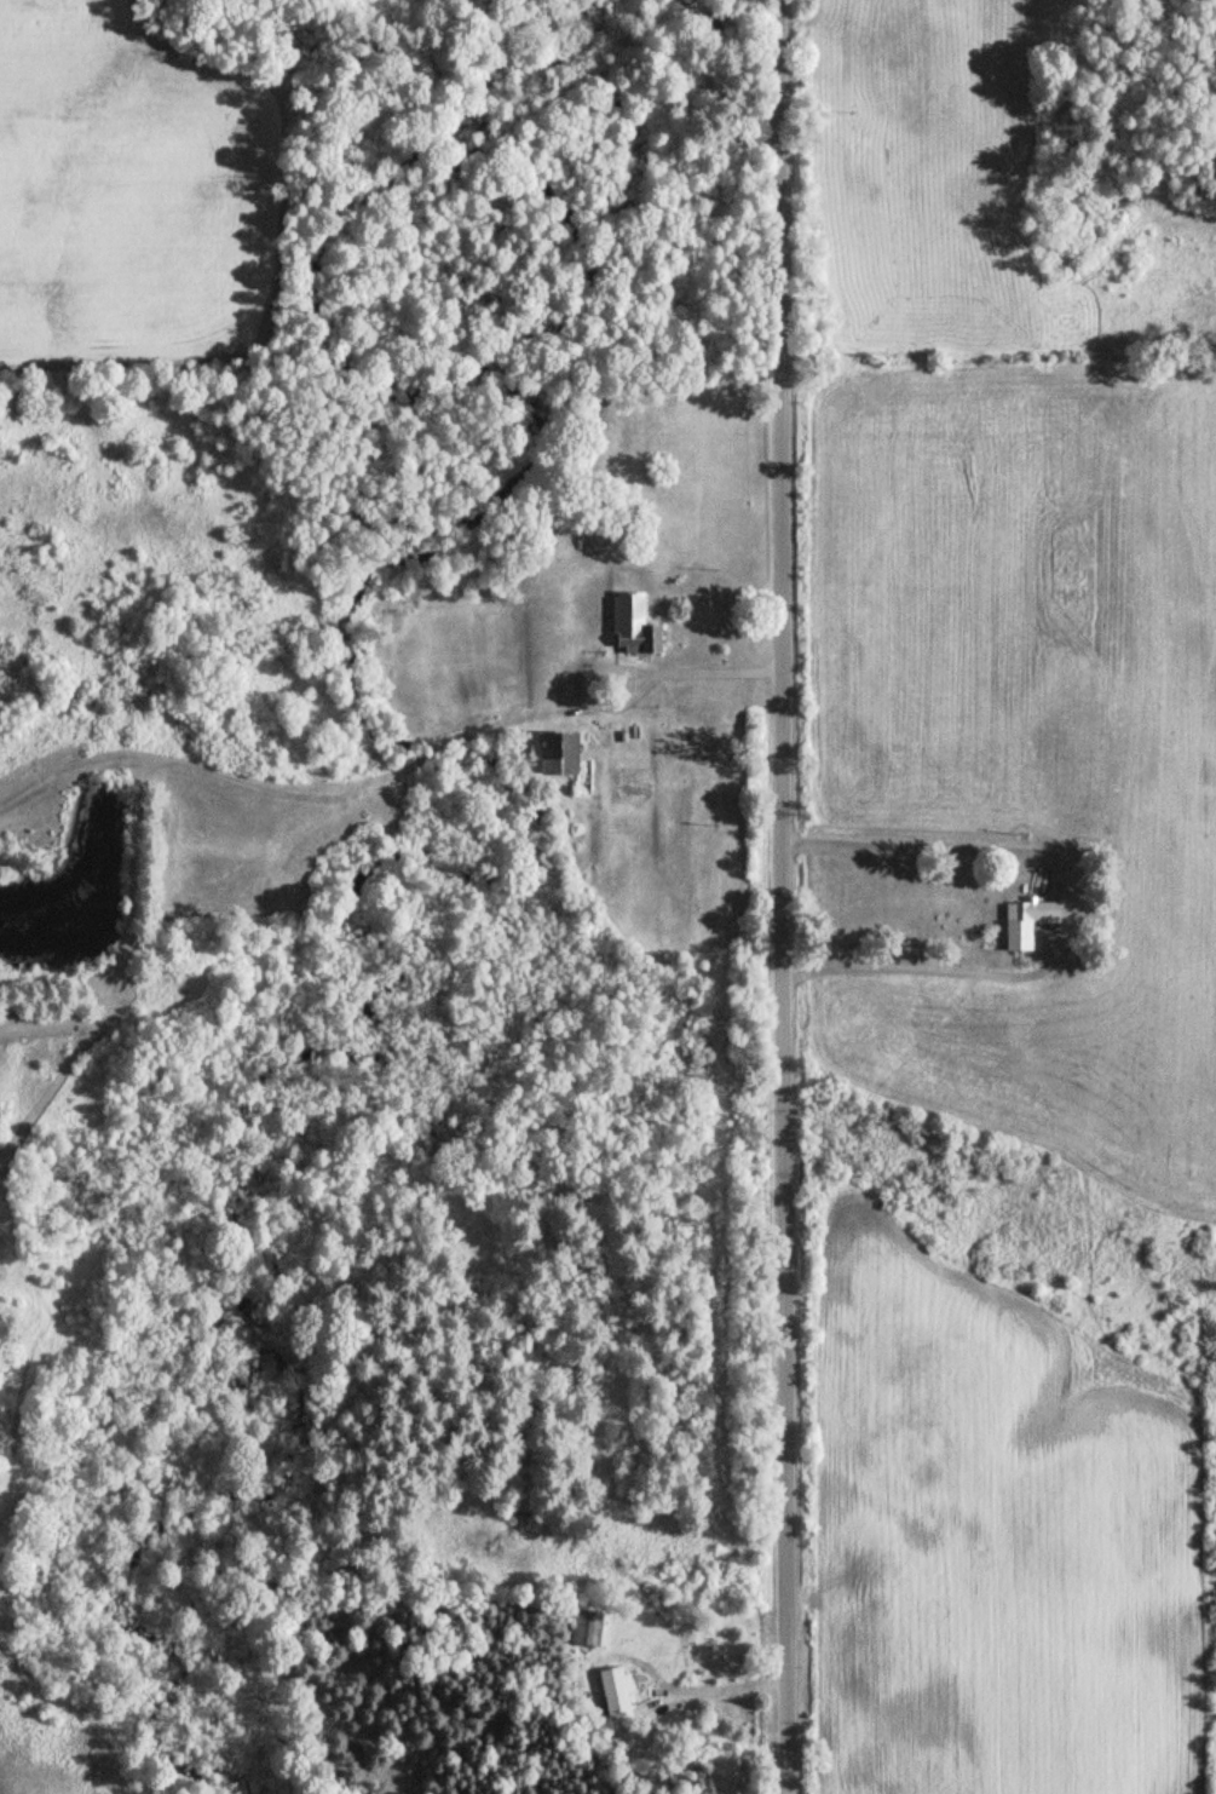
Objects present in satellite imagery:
building: (630, 626)
building: (560, 761)
road: (922, 851)
road: (783, 897)
building: (1032, 912)
building: (587, 1627)
building: (616, 1692)

